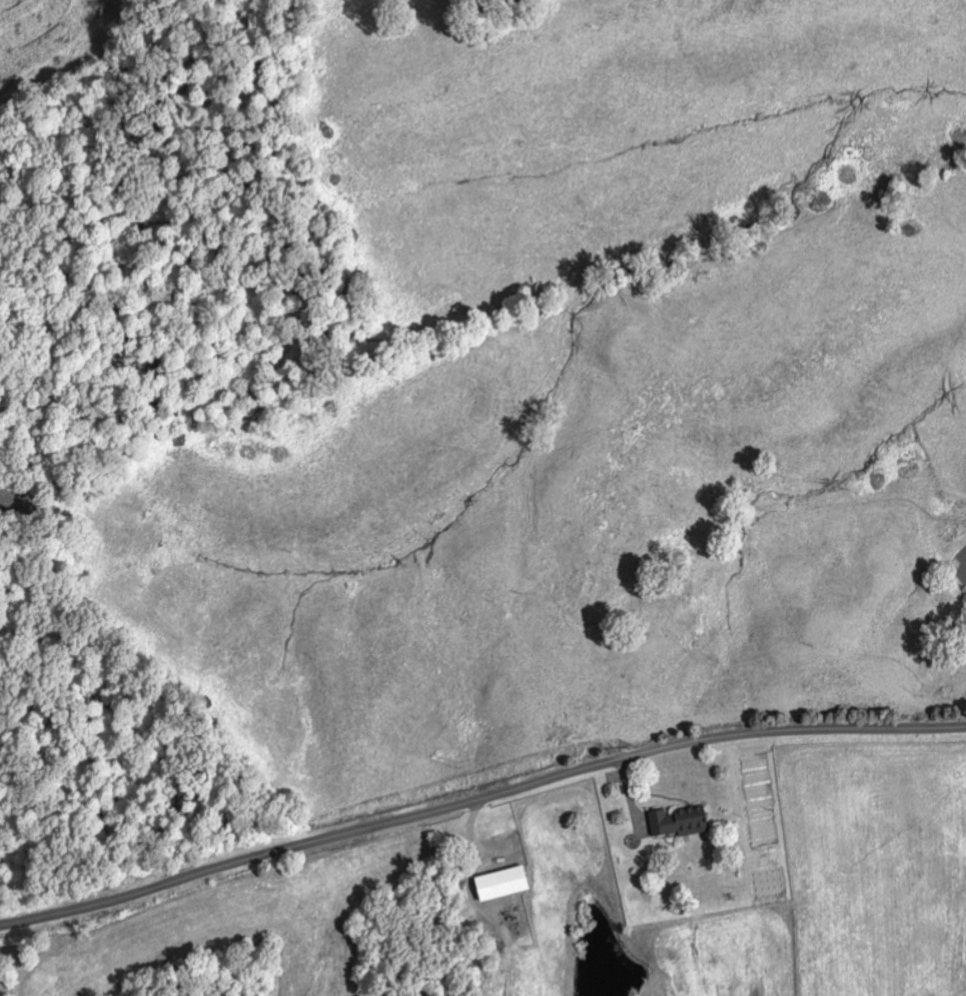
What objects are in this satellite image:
road: (479, 801)
building: (679, 822)
building: (501, 883)

